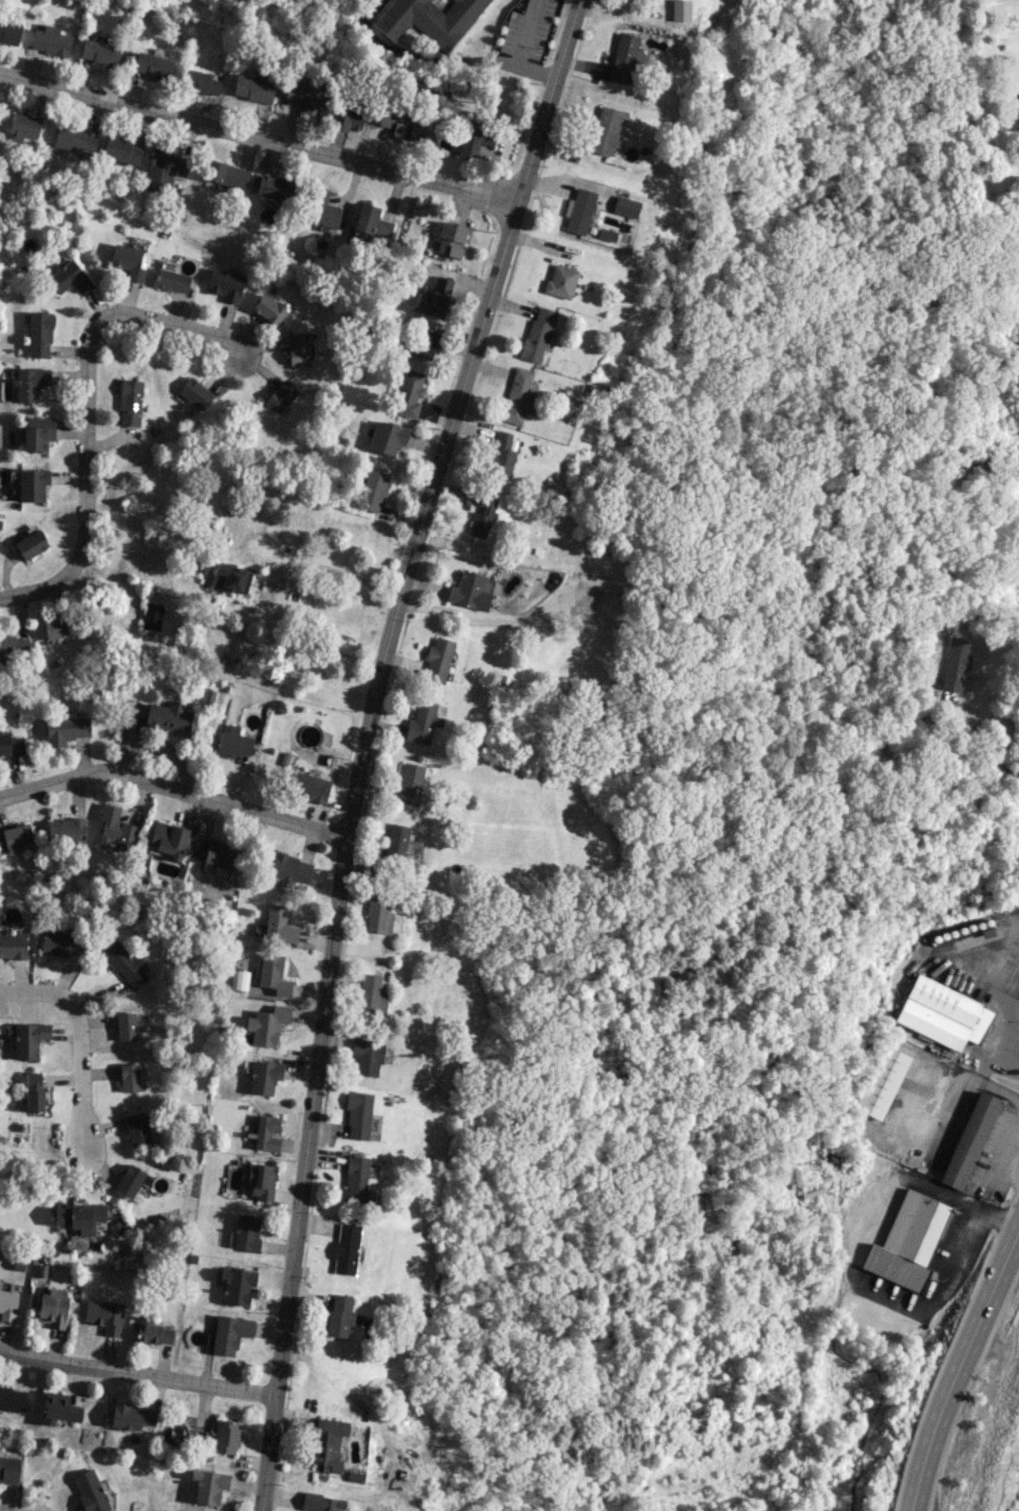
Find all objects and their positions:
building: (679, 10)
building: (429, 19)
building: (9, 31)
building: (50, 42)
road: (518, 51)
building: (98, 52)
road: (419, 58)
building: (622, 58)
building: (151, 66)
building: (198, 82)
building: (253, 89)
building: (304, 99)
building: (346, 117)
building: (23, 126)
building: (402, 126)
building: (605, 130)
road: (257, 139)
building: (73, 140)
building: (121, 151)
building: (163, 169)
building: (225, 175)
building: (273, 188)
building: (322, 210)
building: (579, 211)
building: (370, 221)
building: (450, 240)
building: (127, 261)
building: (67, 278)
building: (170, 281)
building: (560, 281)
building: (224, 285)
building: (433, 299)
building: (268, 309)
building: (537, 334)
building: (38, 335)
building: (424, 344)
building: (297, 348)
building: (29, 384)
building: (194, 393)
building: (408, 393)
building: (280, 395)
building: (518, 396)
building: (129, 402)
road: (85, 409)
building: (38, 433)
building: (386, 438)
building: (501, 456)
building: (32, 485)
building: (372, 491)
building: (482, 517)
building: (30, 545)
building: (230, 578)
road: (264, 587)
building: (466, 590)
building: (607, 593)
road: (498, 616)
building: (55, 628)
building: (13, 646)
building: (438, 660)
building: (956, 663)
building: (168, 717)
road: (981, 720)
building: (422, 722)
building: (65, 730)
road: (363, 743)
building: (10, 745)
building: (232, 745)
building: (410, 783)
road: (174, 788)
building: (307, 788)
building: (115, 827)
building: (66, 831)
building: (15, 837)
building: (396, 842)
building: (220, 853)
building: (289, 869)
building: (378, 916)
building: (279, 924)
building: (62, 943)
building: (12, 946)
building: (125, 964)
building: (273, 974)
building: (239, 979)
building: (371, 994)
road: (1017, 995)
building: (943, 1014)
building: (266, 1025)
building: (126, 1026)
road: (1004, 1032)
building: (29, 1040)
road: (80, 1042)
building: (367, 1056)
building: (264, 1077)
building: (130, 1078)
building: (883, 1081)
building: (33, 1092)
building: (358, 1114)
building: (137, 1129)
building: (267, 1133)
building: (972, 1140)
building: (359, 1179)
building: (131, 1181)
building: (263, 1181)
road: (1002, 1217)
building: (79, 1218)
building: (247, 1232)
building: (908, 1242)
building: (346, 1249)
road: (847, 1278)
building: (237, 1285)
building: (8, 1305)
building: (52, 1309)
building: (104, 1315)
building: (339, 1315)
building: (152, 1332)
building: (230, 1334)
road: (957, 1367)
road: (138, 1376)
building: (12, 1399)
building: (60, 1408)
building: (132, 1416)
building: (225, 1436)
building: (328, 1444)
building: (9, 1470)
building: (209, 1486)
building: (89, 1491)
building: (321, 1503)

